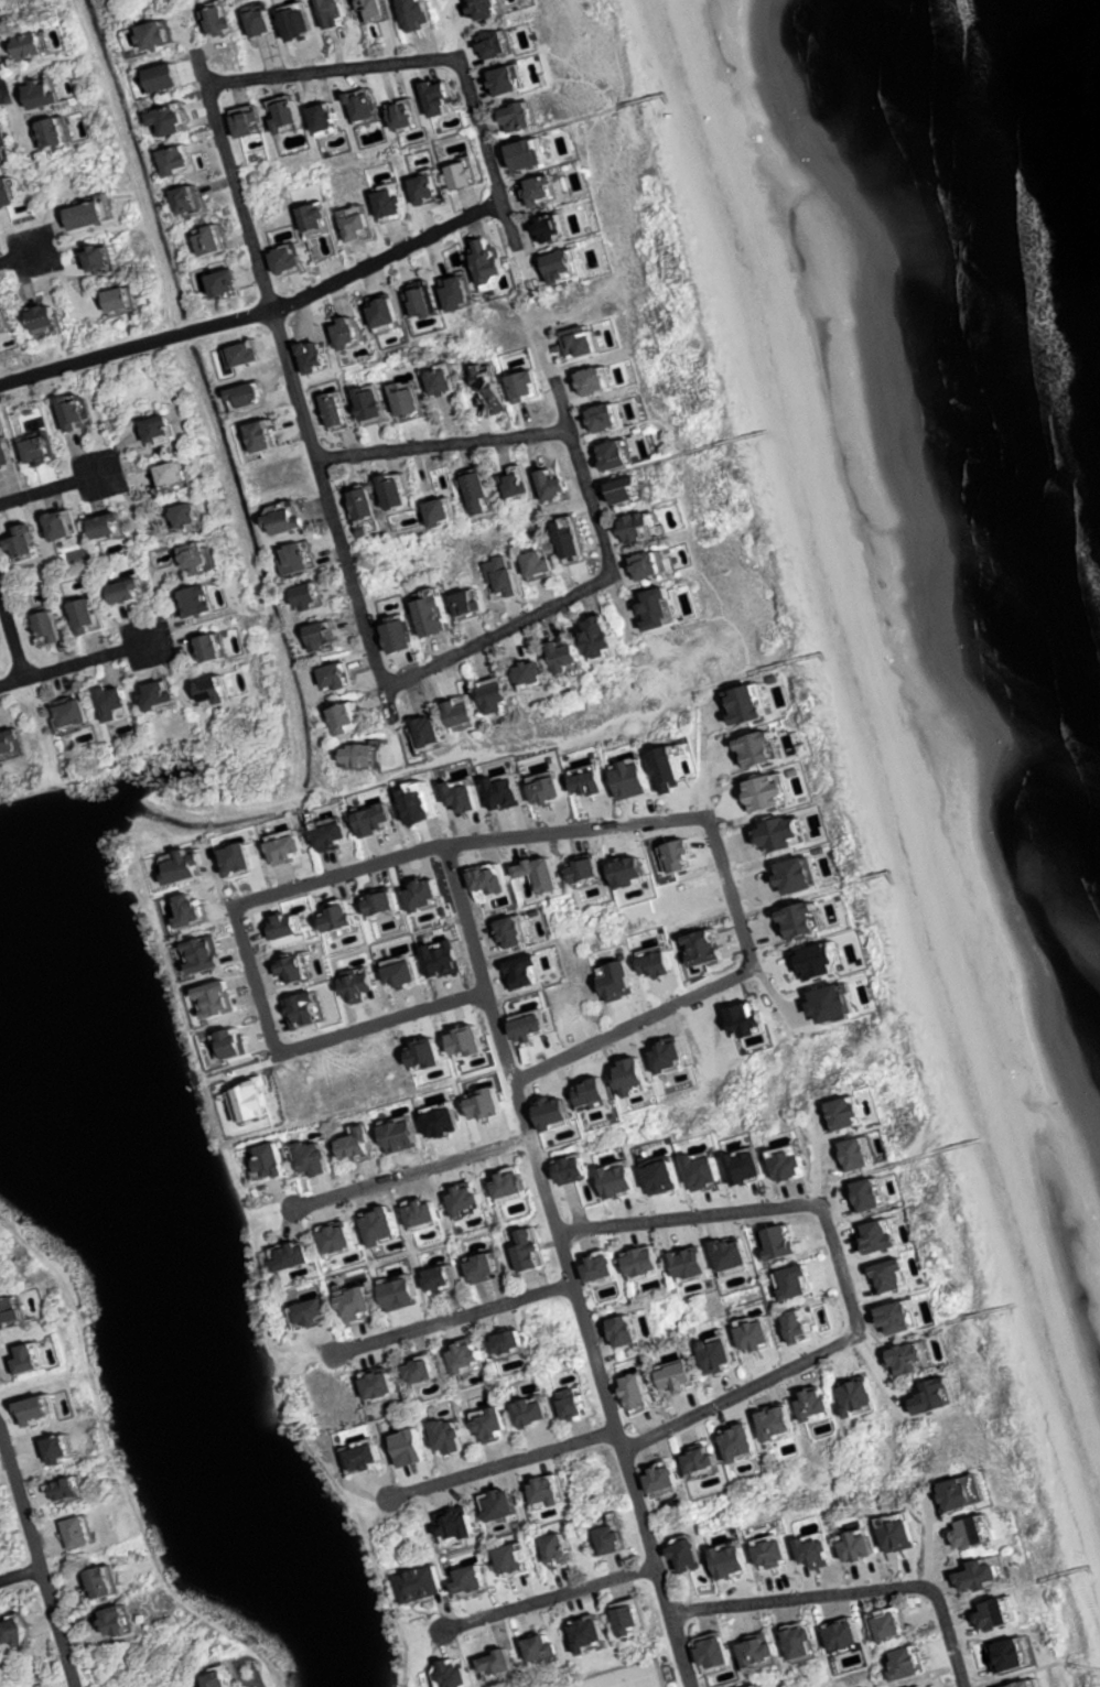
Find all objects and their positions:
building: (342, 11)
building: (385, 11)
building: (494, 11)
building: (425, 15)
building: (226, 21)
building: (273, 25)
building: (165, 37)
building: (43, 45)
building: (503, 46)
road: (335, 73)
building: (173, 82)
building: (518, 83)
building: (53, 97)
building: (447, 100)
building: (374, 110)
building: (296, 118)
building: (414, 118)
building: (528, 120)
building: (334, 121)
building: (180, 125)
building: (259, 126)
building: (61, 136)
building: (7, 140)
road: (488, 153)
building: (540, 158)
building: (190, 163)
building: (473, 180)
building: (435, 192)
building: (549, 194)
building: (14, 196)
building: (199, 204)
building: (402, 206)
building: (97, 218)
building: (367, 229)
building: (558, 231)
building: (328, 235)
building: (220, 244)
road: (21, 257)
road: (388, 257)
building: (109, 261)
building: (295, 263)
building: (499, 266)
building: (570, 269)
building: (236, 286)
building: (468, 298)
building: (131, 303)
building: (429, 304)
building: (391, 313)
building: (53, 321)
building: (11, 326)
building: (359, 333)
building: (583, 345)
road: (136, 348)
building: (257, 354)
building: (327, 357)
building: (452, 380)
building: (603, 381)
road: (295, 386)
building: (536, 387)
building: (496, 389)
building: (258, 394)
building: (419, 398)
building: (381, 403)
building: (347, 410)
building: (86, 411)
building: (614, 418)
building: (169, 428)
building: (271, 437)
road: (443, 444)
building: (11, 454)
building: (625, 455)
building: (181, 476)
road: (583, 476)
building: (527, 485)
building: (560, 485)
road: (54, 487)
building: (403, 491)
building: (488, 494)
building: (371, 508)
building: (450, 513)
building: (195, 516)
building: (296, 519)
building: (71, 525)
building: (117, 526)
building: (648, 528)
building: (580, 539)
building: (33, 542)
building: (206, 558)
building: (301, 559)
building: (550, 562)
building: (656, 566)
building: (511, 577)
building: (140, 592)
building: (319, 597)
building: (205, 602)
building: (477, 605)
building: (667, 608)
building: (95, 617)
building: (443, 623)
building: (56, 629)
road: (499, 634)
building: (333, 636)
building: (610, 636)
building: (410, 637)
building: (224, 647)
building: (574, 655)
road: (78, 663)
road: (22, 669)
building: (539, 673)
building: (343, 678)
building: (224, 691)
building: (170, 695)
building: (505, 697)
building: (122, 702)
building: (748, 703)
building: (84, 713)
building: (471, 714)
building: (357, 720)
building: (439, 733)
building: (14, 746)
building: (758, 749)
building: (374, 756)
building: (670, 771)
building: (634, 778)
building: (590, 779)
building: (549, 789)
building: (770, 791)
building: (504, 792)
building: (464, 797)
building: (419, 805)
building: (375, 820)
building: (330, 829)
building: (787, 834)
building: (287, 846)
building: (679, 857)
building: (239, 861)
building: (184, 867)
building: (587, 870)
building: (633, 874)
building: (544, 875)
building: (799, 875)
building: (493, 883)
road: (729, 889)
building: (427, 897)
building: (382, 904)
road: (775, 905)
building: (194, 911)
building: (339, 920)
building: (806, 921)
building: (284, 927)
building: (513, 933)
building: (705, 948)
building: (206, 955)
building: (445, 961)
building: (818, 962)
building: (658, 963)
building: (293, 970)
building: (405, 973)
building: (527, 973)
road: (257, 981)
building: (621, 981)
building: (359, 987)
building: (220, 1002)
building: (835, 1005)
building: (308, 1014)
building: (747, 1018)
building: (532, 1027)
building: (467, 1041)
building: (233, 1045)
building: (428, 1050)
building: (672, 1055)
building: (634, 1072)
building: (594, 1094)
building: (256, 1096)
building: (488, 1101)
building: (849, 1111)
building: (554, 1113)
building: (444, 1118)
building: (406, 1133)
building: (358, 1144)
building: (859, 1151)
building: (315, 1156)
building: (265, 1158)
building: (788, 1162)
building: (746, 1164)
building: (776, 1166)
building: (573, 1167)
building: (732, 1167)
building: (702, 1171)
building: (690, 1172)
road: (413, 1174)
road: (861, 1174)
building: (662, 1176)
building: (622, 1178)
building: (605, 1180)
building: (511, 1185)
building: (870, 1193)
building: (467, 1199)
building: (427, 1211)
building: (384, 1222)
building: (881, 1233)
building: (338, 1236)
building: (785, 1239)
building: (531, 1246)
building: (735, 1252)
building: (294, 1253)
building: (719, 1254)
building: (695, 1261)
building: (645, 1262)
building: (486, 1264)
building: (676, 1264)
building: (604, 1265)
road: (567, 1266)
building: (586, 1267)
road: (838, 1267)
building: (894, 1274)
building: (444, 1277)
building: (878, 1277)
building: (795, 1279)
building: (402, 1290)
building: (358, 1300)
building: (310, 1310)
building: (898, 1315)
building: (14, 1316)
road: (454, 1320)
building: (802, 1323)
building: (628, 1328)
building: (613, 1332)
building: (757, 1332)
road: (908, 1333)
building: (742, 1337)
building: (510, 1340)
building: (721, 1353)
building: (914, 1355)
building: (472, 1356)
building: (704, 1356)
building: (40, 1358)
building: (425, 1367)
building: (678, 1373)
building: (381, 1385)
building: (637, 1393)
building: (862, 1393)
building: (845, 1395)
building: (931, 1395)
building: (819, 1401)
building: (578, 1402)
building: (344, 1403)
building: (801, 1405)
building: (535, 1409)
building: (41, 1415)
building: (783, 1419)
building: (490, 1420)
building: (763, 1424)
building: (452, 1435)
building: (743, 1439)
building: (726, 1443)
building: (411, 1446)
building: (67, 1451)
building: (365, 1451)
building: (703, 1458)
building: (377, 1459)
road: (504, 1466)
building: (666, 1475)
building: (651, 1480)
building: (74, 1491)
building: (556, 1492)
building: (952, 1493)
building: (510, 1505)
building: (464, 1526)
building: (971, 1531)
building: (84, 1534)
building: (897, 1534)
building: (616, 1536)
building: (859, 1546)
building: (559, 1547)
building: (818, 1547)
building: (774, 1549)
building: (689, 1553)
building: (800, 1553)
building: (759, 1554)
road: (36, 1555)
building: (515, 1557)
building: (733, 1558)
building: (716, 1562)
building: (981, 1572)
road: (20, 1575)
building: (473, 1580)
building: (420, 1582)
building: (112, 1585)
road: (850, 1594)
road: (985, 1597)
road: (549, 1600)
building: (994, 1612)
building: (633, 1619)
building: (129, 1623)
building: (892, 1624)
building: (844, 1631)
building: (590, 1632)
building: (26, 1634)
building: (806, 1640)
building: (788, 1643)
building: (542, 1646)
building: (762, 1650)
building: (745, 1651)
building: (1012, 1652)
building: (701, 1653)
building: (716, 1654)
building: (907, 1662)
building: (505, 1664)
building: (460, 1674)
building: (222, 1676)
park: (645, 1681)
building: (1023, 1684)
park: (617, 1685)
building: (759, 1685)

